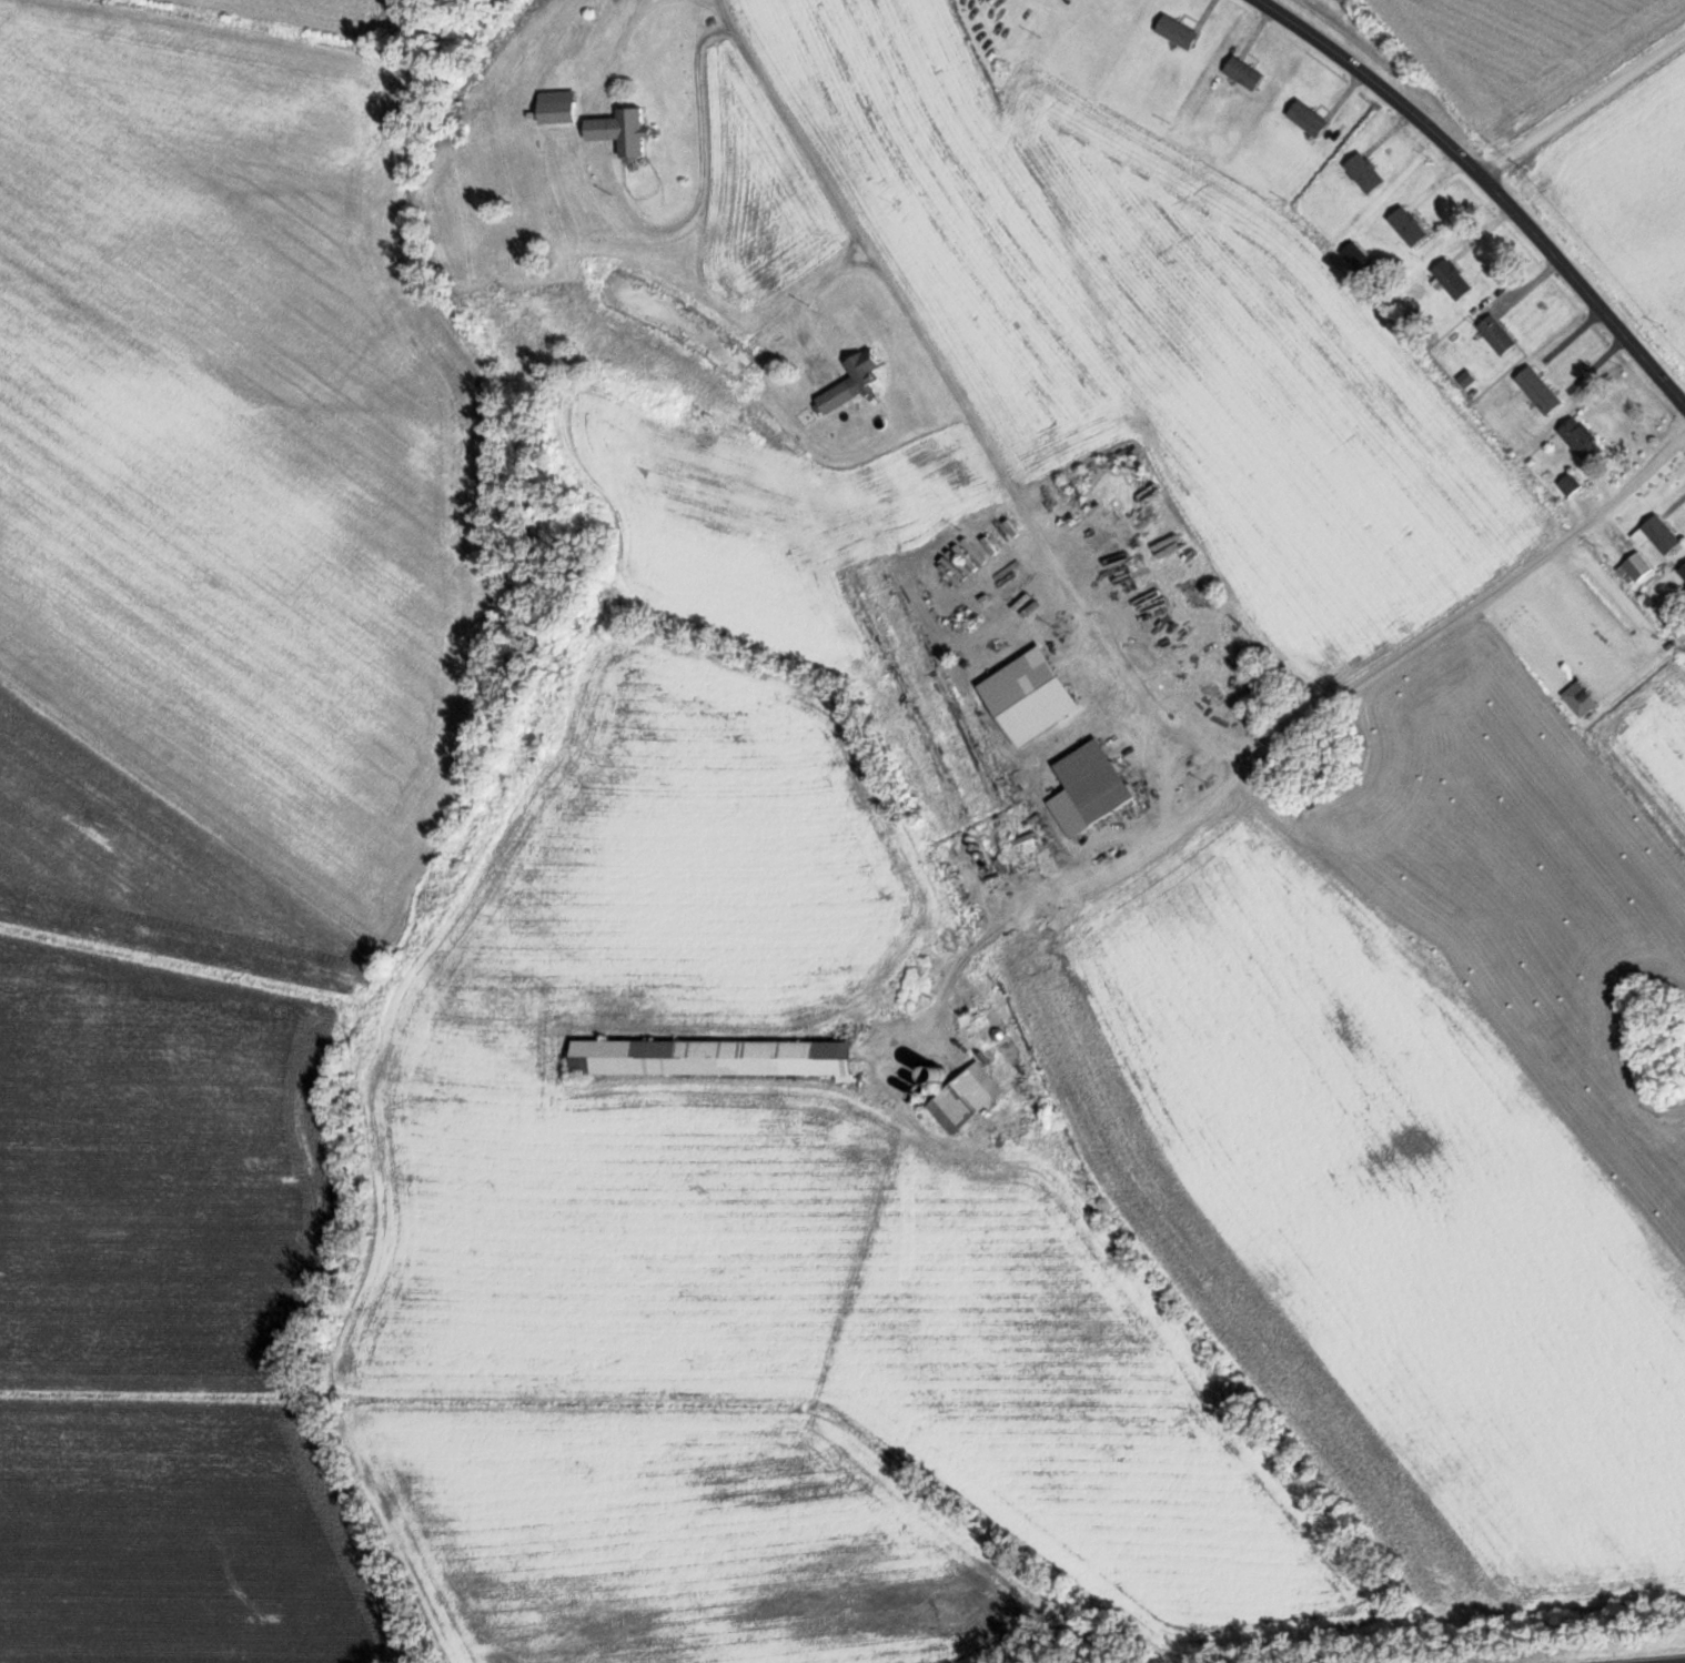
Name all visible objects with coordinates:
building: (1179, 32)
building: (1244, 73)
building: (558, 107)
road: (1583, 107)
building: (1309, 119)
building: (623, 131)
building: (1365, 173)
road: (1490, 187)
building: (1409, 226)
building: (1356, 258)
building: (1452, 279)
building: (1497, 334)
building: (854, 381)
building: (1540, 390)
building: (1582, 440)
building: (1568, 484)
building: (1657, 534)
building: (1635, 566)
building: (1682, 571)
road: (1262, 749)
building: (1090, 787)
building: (1046, 859)
building: (715, 1056)
building: (967, 1098)

